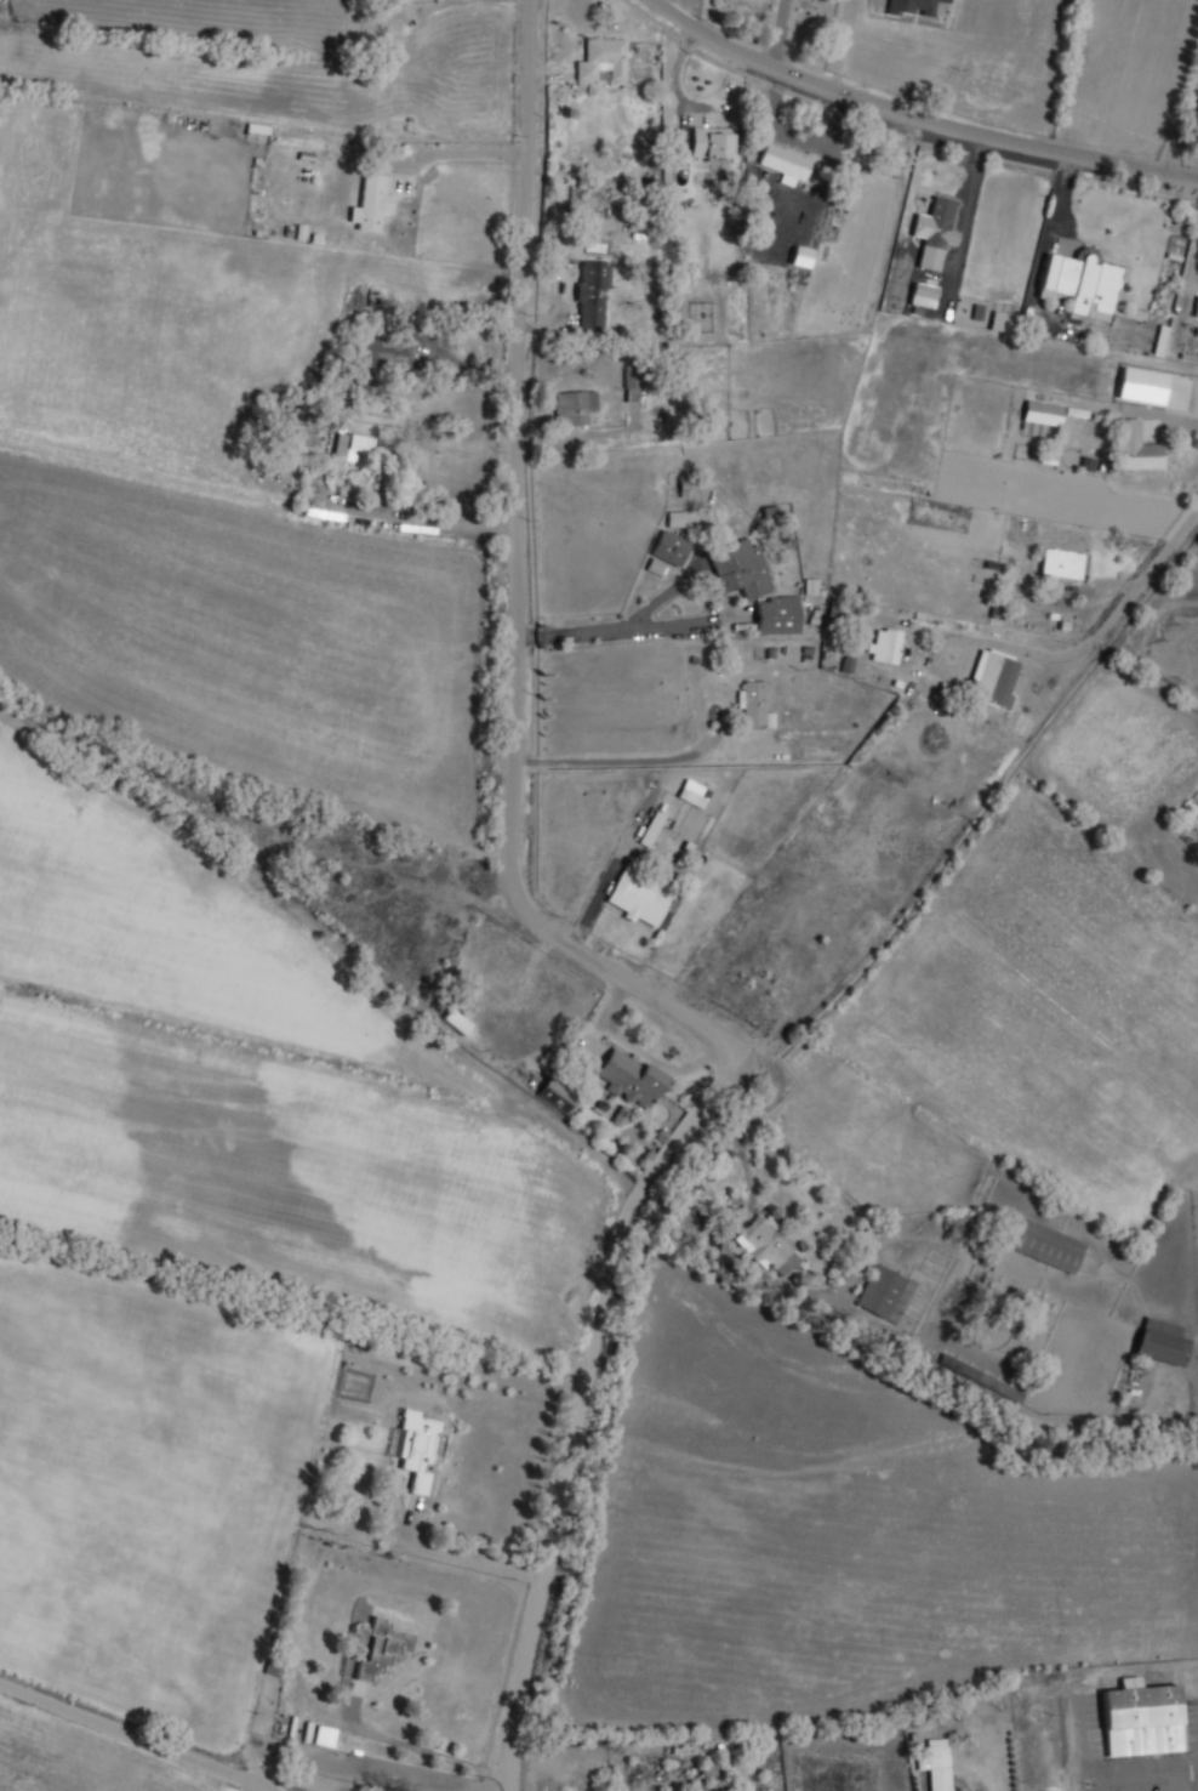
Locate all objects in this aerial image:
building: (914, 7)
building: (603, 62)
road: (919, 118)
road: (1181, 121)
building: (712, 144)
building: (785, 163)
road: (457, 165)
building: (373, 203)
building: (939, 224)
building: (800, 257)
building: (1082, 282)
building: (923, 292)
building: (594, 295)
building: (1003, 323)
building: (380, 354)
building: (576, 406)
building: (1042, 414)
building: (355, 448)
building: (1136, 450)
building: (669, 548)
building: (1066, 564)
building: (741, 569)
road: (1105, 626)
building: (886, 647)
building: (993, 678)
building: (755, 705)
building: (694, 795)
building: (654, 831)
building: (635, 898)
road: (572, 948)
building: (456, 1022)
building: (631, 1080)
building: (559, 1097)
road: (740, 1128)
building: (1044, 1245)
building: (768, 1249)
building: (885, 1295)
building: (1160, 1342)
building: (980, 1378)
building: (1133, 1380)
building: (417, 1448)
building: (382, 1647)
building: (1141, 1718)
road: (137, 1734)
road: (1077, 1740)
building: (936, 1764)
building: (708, 1770)
road: (1139, 1775)

